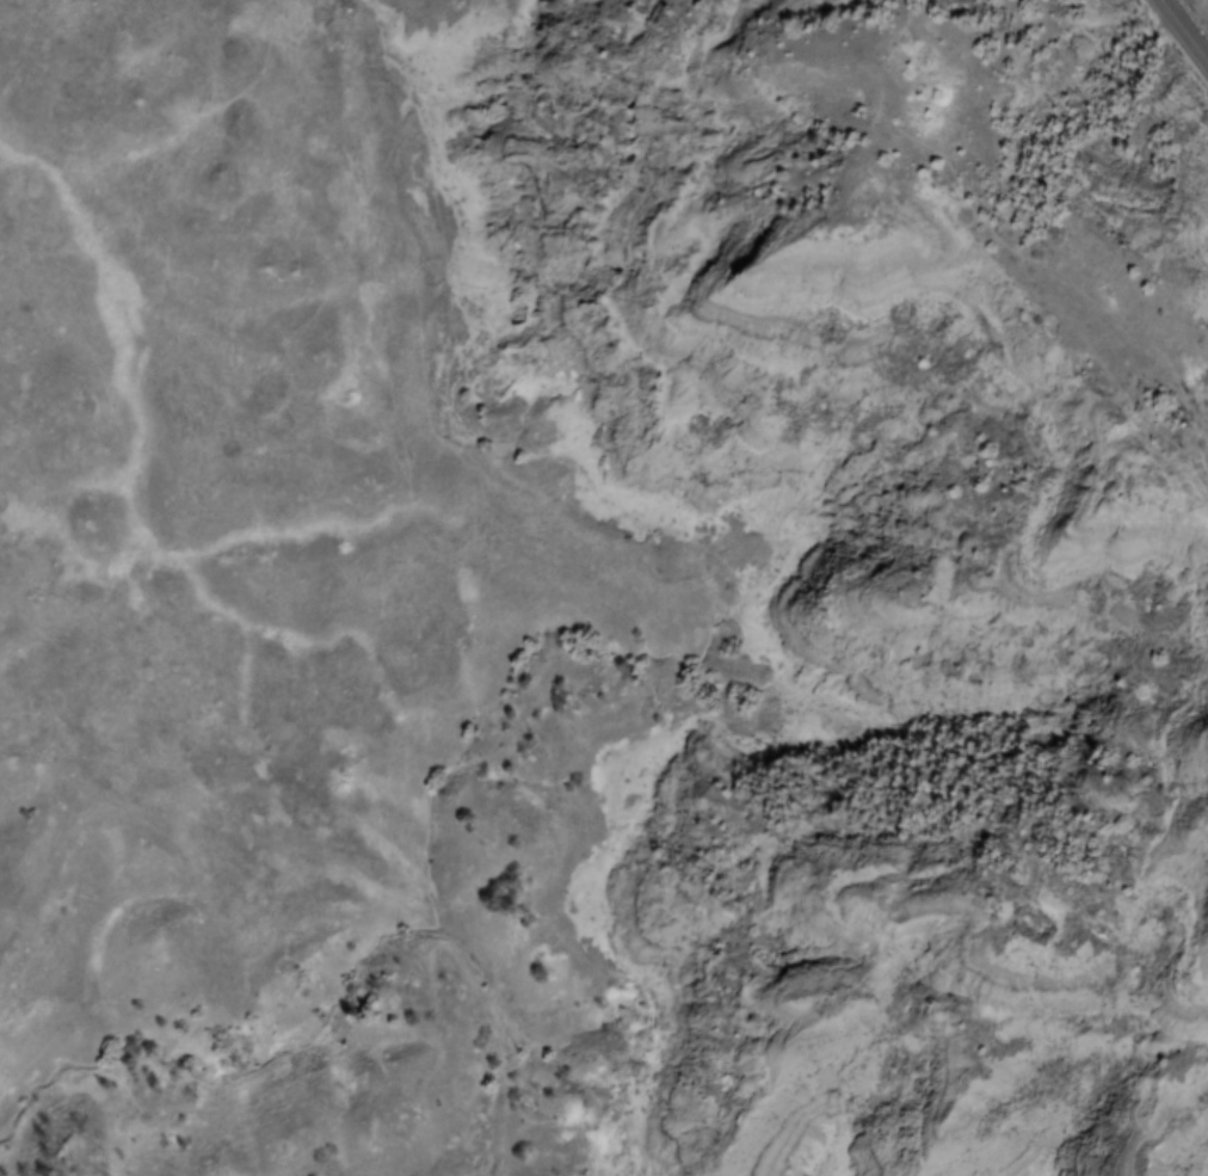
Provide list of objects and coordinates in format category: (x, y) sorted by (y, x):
road: (1176, 41)

